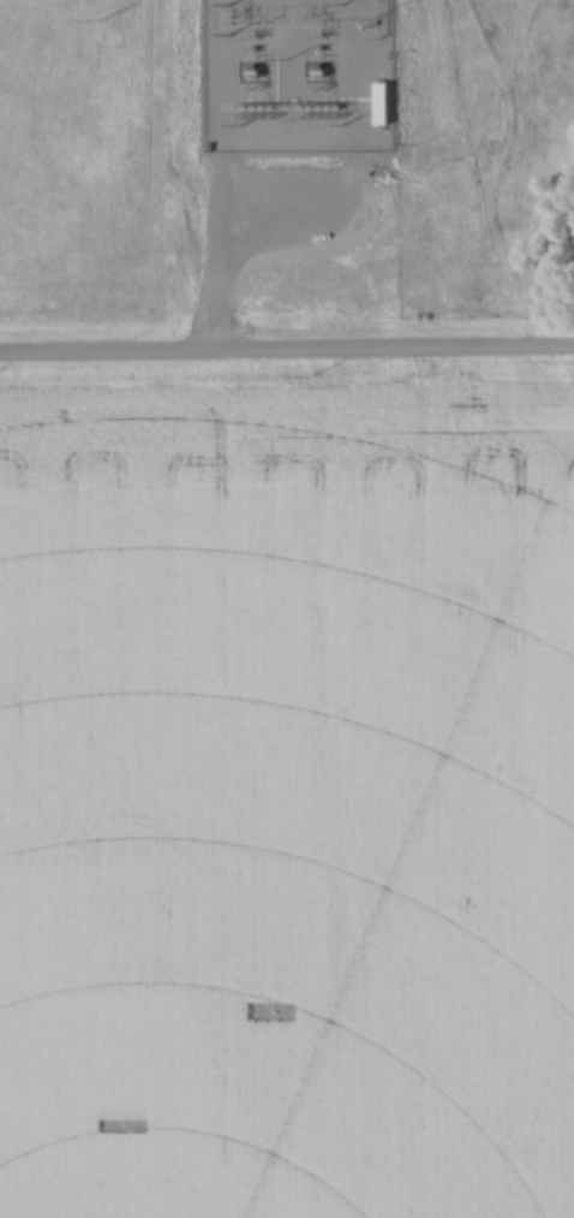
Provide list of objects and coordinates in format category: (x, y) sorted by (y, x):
power substation: (298, 75)
road: (286, 352)
road: (425, 476)

